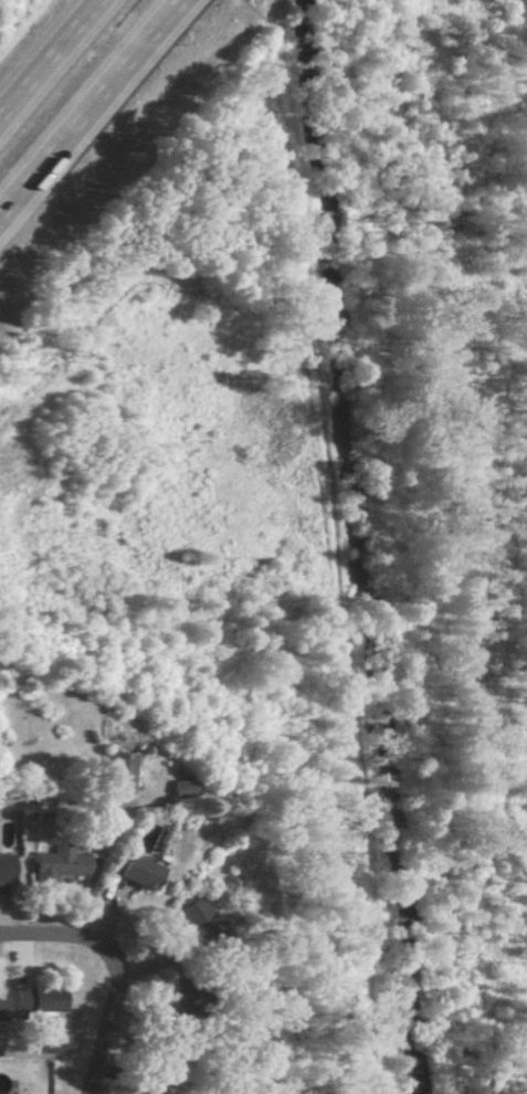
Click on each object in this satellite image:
road: (48, 56)
road: (94, 111)
building: (115, 774)
building: (178, 790)
road: (40, 804)
building: (57, 864)
building: (6, 867)
building: (137, 873)
building: (197, 919)
road: (57, 937)
building: (39, 999)
building: (2, 1009)
road: (112, 1024)

